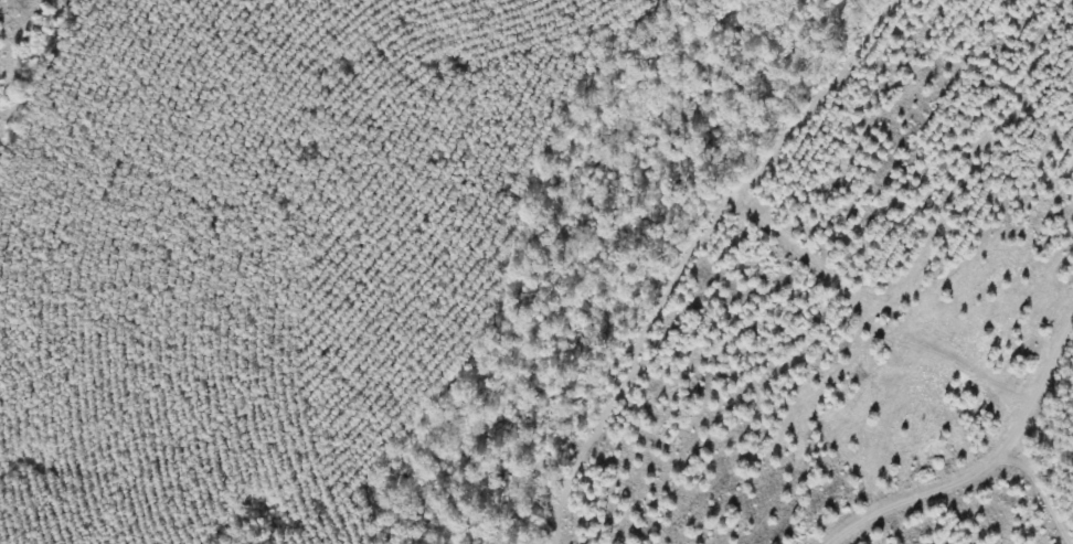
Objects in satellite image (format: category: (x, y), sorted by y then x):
road: (1007, 437)

